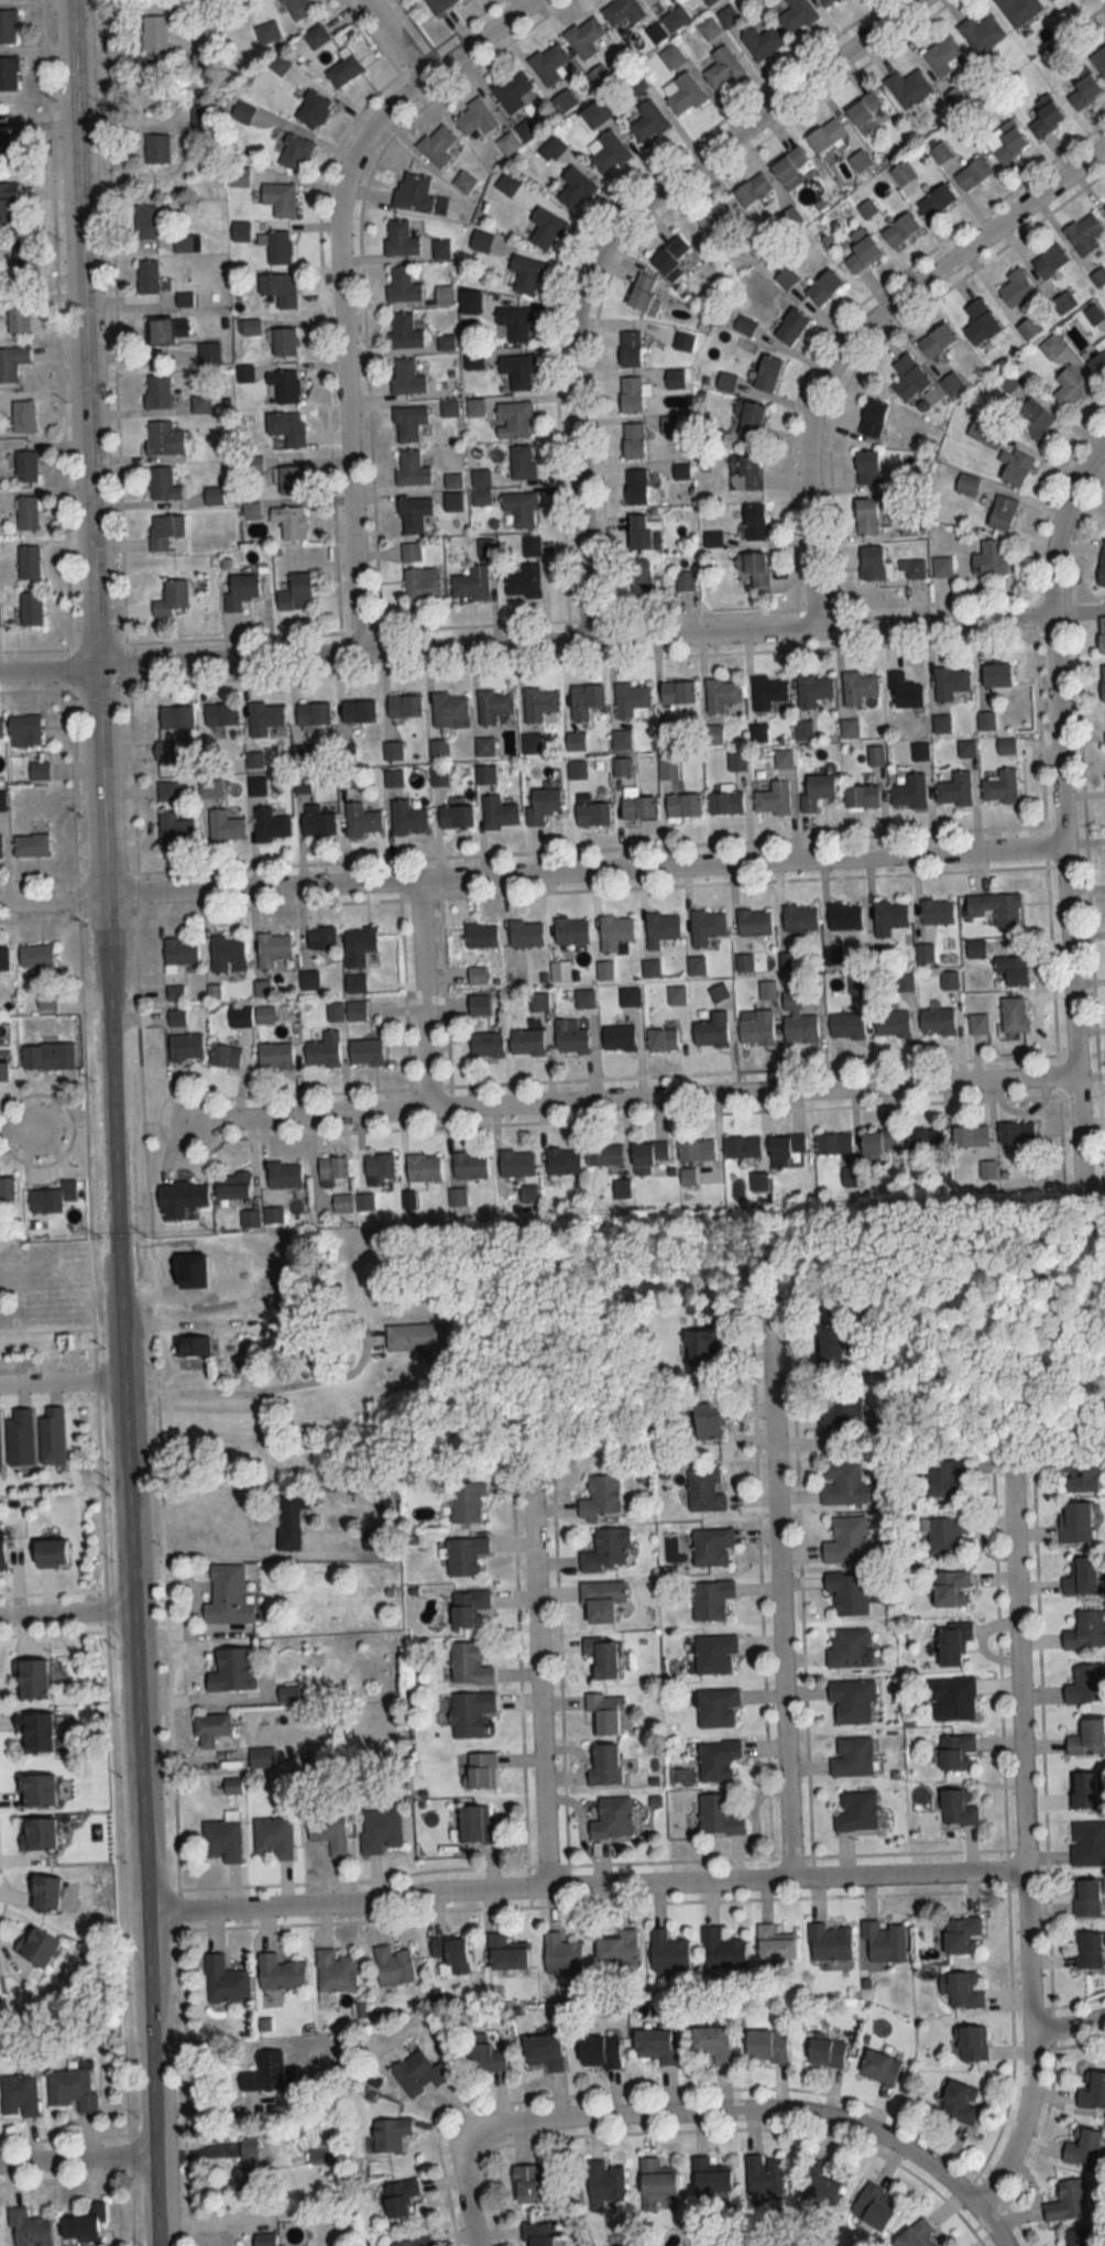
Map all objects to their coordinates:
building: (709, 1)
building: (828, 3)
building: (1058, 3)
building: (438, 4)
building: (297, 8)
building: (1019, 10)
building: (623, 11)
building: (796, 15)
building: (8, 28)
building: (267, 32)
building: (154, 33)
building: (982, 33)
road: (393, 35)
building: (316, 36)
building: (584, 36)
building: (1104, 39)
building: (761, 42)
building: (943, 58)
building: (200, 59)
building: (1099, 61)
building: (550, 64)
building: (722, 68)
building: (344, 70)
building: (9, 74)
building: (908, 87)
building: (512, 91)
building: (1084, 92)
building: (682, 94)
building: (956, 96)
building: (313, 110)
building: (242, 112)
building: (865, 112)
building: (595, 113)
building: (1047, 117)
building: (475, 119)
building: (648, 122)
building: (526, 130)
building: (825, 135)
building: (1006, 142)
building: (507, 143)
building: (439, 146)
building: (551, 148)
building: (157, 149)
building: (15, 151)
building: (606, 152)
building: (940, 152)
building: (295, 153)
building: (790, 167)
building: (901, 173)
building: (973, 175)
building: (239, 176)
building: (464, 182)
building: (507, 184)
building: (575, 188)
building: (752, 190)
building: (413, 192)
building: (280, 199)
building: (936, 201)
building: (8, 204)
building: (1104, 208)
building: (715, 217)
building: (144, 222)
building: (545, 228)
building: (900, 230)
building: (241, 231)
building: (1084, 235)
building: (401, 239)
building: (481, 241)
building: (186, 243)
building: (678, 244)
road: (602, 246)
building: (278, 248)
building: (861, 252)
building: (23, 258)
building: (1050, 261)
building: (668, 265)
building: (526, 275)
building: (147, 276)
building: (403, 285)
road: (336, 286)
building: (823, 287)
building: (278, 288)
building: (1015, 288)
building: (442, 295)
building: (644, 295)
building: (185, 299)
building: (470, 303)
building: (1064, 303)
building: (19, 317)
building: (516, 324)
building: (981, 324)
building: (744, 326)
building: (791, 326)
building: (249, 327)
building: (1029, 328)
building: (167, 331)
building: (404, 331)
road: (857, 334)
building: (683, 341)
building: (937, 341)
building: (283, 342)
building: (1051, 347)
building: (630, 348)
building: (209, 353)
building: (12, 361)
building: (1098, 364)
building: (518, 371)
building: (767, 373)
building: (406, 377)
building: (909, 378)
building: (676, 379)
building: (282, 384)
building: (1071, 388)
building: (157, 392)
building: (631, 394)
building: (200, 405)
building: (23, 416)
building: (872, 417)
building: (748, 418)
building: (514, 419)
building: (1035, 419)
building: (408, 423)
building: (669, 425)
building: (287, 427)
building: (164, 439)
building: (633, 440)
building: (522, 461)
building: (25, 466)
building: (1015, 466)
building: (867, 467)
building: (412, 468)
building: (745, 471)
building: (289, 480)
building: (452, 480)
building: (163, 483)
building: (636, 487)
building: (214, 495)
building: (453, 501)
building: (519, 508)
building: (26, 512)
building: (1002, 512)
building: (414, 514)
building: (866, 516)
building: (289, 521)
building: (754, 522)
building: (165, 530)
building: (644, 532)
building: (485, 546)
building: (530, 546)
building: (411, 552)
building: (989, 558)
building: (29, 561)
building: (1102, 561)
building: (872, 563)
building: (941, 566)
building: (912, 568)
building: (752, 569)
building: (638, 574)
building: (524, 581)
building: (471, 584)
building: (422, 585)
building: (240, 588)
building: (296, 592)
building: (172, 598)
building: (30, 608)
building: (1102, 635)
road: (523, 643)
building: (997, 674)
building: (950, 683)
building: (1103, 684)
building: (858, 687)
building: (813, 689)
building: (905, 691)
building: (677, 693)
building: (768, 693)
building: (721, 695)
building: (631, 699)
building: (586, 700)
building: (539, 704)
building: (404, 706)
building: (493, 706)
building: (449, 710)
building: (359, 711)
building: (221, 713)
building: (314, 713)
building: (176, 717)
building: (264, 718)
building: (941, 723)
building: (1, 728)
building: (850, 728)
building: (25, 730)
building: (617, 735)
building: (530, 744)
building: (484, 746)
building: (966, 748)
building: (438, 749)
building: (165, 750)
building: (393, 751)
building: (920, 751)
building: (787, 759)
building: (621, 767)
building: (668, 767)
building: (39, 770)
building: (577, 770)
building: (485, 774)
building: (439, 776)
building: (348, 778)
building: (1000, 786)
building: (169, 788)
building: (954, 789)
building: (817, 791)
building: (909, 792)
building: (862, 796)
building: (773, 798)
building: (725, 803)
building: (543, 805)
building: (683, 805)
building: (637, 806)
road: (1059, 808)
building: (499, 813)
building: (592, 814)
building: (456, 816)
building: (408, 817)
building: (362, 820)
building: (318, 821)
building: (272, 825)
building: (226, 827)
building: (175, 829)
building: (31, 844)
building: (0, 846)
road: (530, 873)
building: (996, 907)
building: (937, 912)
building: (845, 916)
building: (889, 917)
building: (800, 918)
building: (754, 922)
building: (707, 927)
building: (661, 928)
building: (571, 930)
building: (615, 931)
building: (526, 934)
building: (480, 935)
building: (320, 942)
building: (359, 945)
building: (273, 948)
building: (975, 949)
building: (179, 951)
building: (228, 953)
building: (4, 958)
building: (36, 959)
building: (604, 970)
building: (1013, 970)
building: (560, 972)
building: (477, 975)
building: (949, 981)
building: (719, 992)
road: (418, 994)
building: (628, 995)
building: (676, 995)
building: (584, 999)
building: (479, 1004)
building: (355, 1010)
building: (335, 1012)
building: (264, 1014)
building: (1014, 1015)
building: (240, 1016)
building: (176, 1017)
building: (797, 1020)
building: (937, 1022)
building: (891, 1024)
building: (977, 1024)
building: (846, 1025)
building: (755, 1026)
building: (711, 1031)
building: (570, 1037)
building: (619, 1037)
building: (661, 1039)
building: (527, 1042)
building: (486, 1044)
building: (185, 1047)
building: (324, 1049)
building: (364, 1051)
building: (47, 1056)
building: (226, 1056)
building: (275, 1056)
building: (3, 1071)
road: (632, 1098)
road: (89, 1122)
road: (119, 1123)
road: (20, 1129)
building: (1016, 1132)
building: (971, 1135)
building: (926, 1138)
building: (880, 1141)
building: (834, 1143)
building: (743, 1146)
building: (786, 1147)
building: (697, 1149)
building: (605, 1154)
building: (648, 1156)
building: (564, 1160)
building: (516, 1164)
building: (470, 1166)
building: (333, 1167)
building: (380, 1168)
building: (424, 1168)
building: (284, 1174)
building: (233, 1185)
building: (7, 1189)
building: (528, 1195)
building: (180, 1197)
building: (52, 1198)
building: (342, 1203)
road: (742, 1204)
building: (250, 1219)
building: (281, 1305)
road: (48, 1327)
building: (416, 1337)
building: (192, 1345)
building: (830, 1346)
building: (702, 1351)
road: (64, 1377)
road: (258, 1393)
building: (840, 1407)
building: (709, 1420)
building: (52, 1436)
building: (20, 1437)
building: (0, 1441)
building: (1079, 1472)
building: (944, 1478)
building: (844, 1483)
building: (704, 1491)
building: (601, 1497)
building: (467, 1502)
building: (289, 1522)
building: (1075, 1523)
building: (945, 1535)
building: (846, 1540)
building: (711, 1547)
building: (2, 1551)
road: (234, 1551)
building: (608, 1551)
building: (50, 1553)
building: (464, 1556)
building: (1082, 1577)
building: (950, 1589)
road: (775, 1592)
building: (847, 1592)
building: (227, 1596)
building: (710, 1600)
building: (600, 1601)
building: (468, 1609)
road: (68, 1611)
building: (1086, 1629)
building: (952, 1644)
building: (850, 1647)
building: (714, 1653)
building: (603, 1657)
building: (469, 1666)
building: (232, 1670)
building: (30, 1680)
road: (534, 1680)
building: (1086, 1685)
road: (200, 1698)
building: (952, 1698)
building: (852, 1702)
building: (716, 1707)
building: (470, 1713)
building: (604, 1713)
building: (211, 1727)
building: (35, 1733)
building: (1087, 1737)
building: (955, 1753)
building: (261, 1757)
building: (852, 1757)
building: (716, 1760)
building: (603, 1765)
building: (479, 1770)
building: (232, 1786)
building: (37, 1791)
building: (1087, 1791)
building: (959, 1808)
building: (856, 1812)
building: (719, 1817)
building: (612, 1819)
building: (475, 1825)
building: (380, 1831)
building: (328, 1832)
road: (1017, 1832)
building: (37, 1835)
building: (273, 1838)
building: (221, 1842)
building: (1087, 1844)
road: (583, 1885)
building: (45, 1893)
building: (1087, 1898)
building: (962, 1934)
building: (829, 1942)
building: (883, 1942)
building: (775, 1944)
building: (39, 1948)
building: (617, 1948)
building: (722, 1950)
building: (1090, 1951)
building: (668, 1952)
building: (505, 1953)
building: (561, 1954)
building: (450, 1955)
building: (393, 1965)
building: (335, 1971)
building: (280, 1973)
building: (225, 1981)
building: (963, 1989)
building: (0, 1997)
road: (1069, 2029)
building: (711, 2043)
building: (971, 2045)
building: (656, 2046)
building: (766, 2046)
building: (599, 2052)
building: (828, 2052)
building: (484, 2056)
building: (879, 2068)
building: (265, 2073)
building: (418, 2074)
building: (73, 2090)
building: (1093, 2091)
building: (19, 2096)
building: (959, 2103)
road: (739, 2113)
building: (390, 2135)
building: (1084, 2148)
road: (78, 2161)
building: (247, 2167)
building: (764, 2176)
building: (709, 2177)
building: (656, 2179)
building: (604, 2181)
building: (528, 2184)
building: (820, 2185)
road: (462, 2189)
building: (400, 2198)
building: (1068, 2202)
building: (874, 2206)
road: (245, 2220)
road: (205, 2222)
building: (85, 2224)
road: (988, 2226)
building: (30, 2229)
building: (539, 2234)
building: (915, 2235)
building: (1080, 2237)
building: (266, 2239)
building: (411, 2243)

